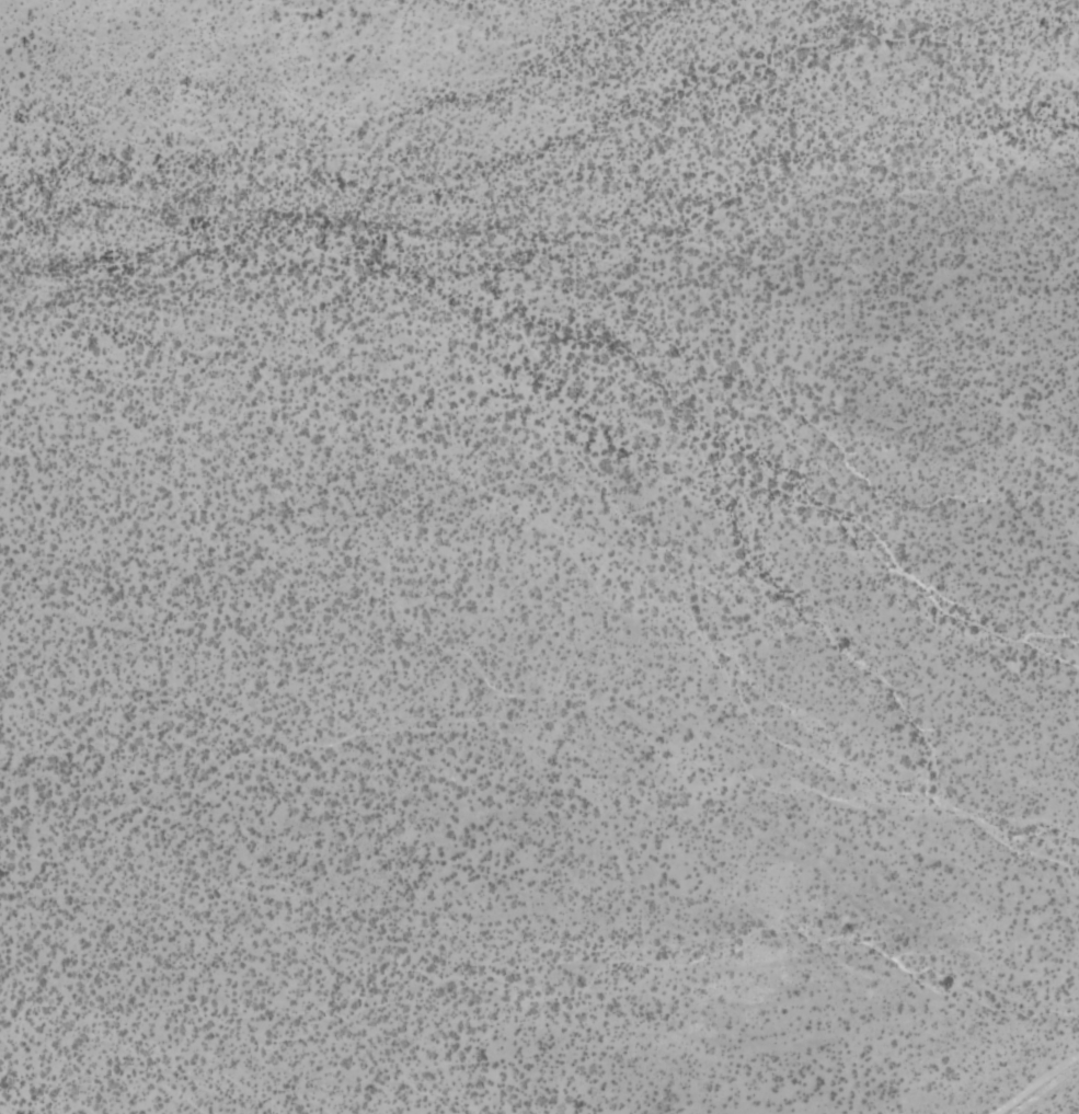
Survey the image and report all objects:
road: (994, 1055)

